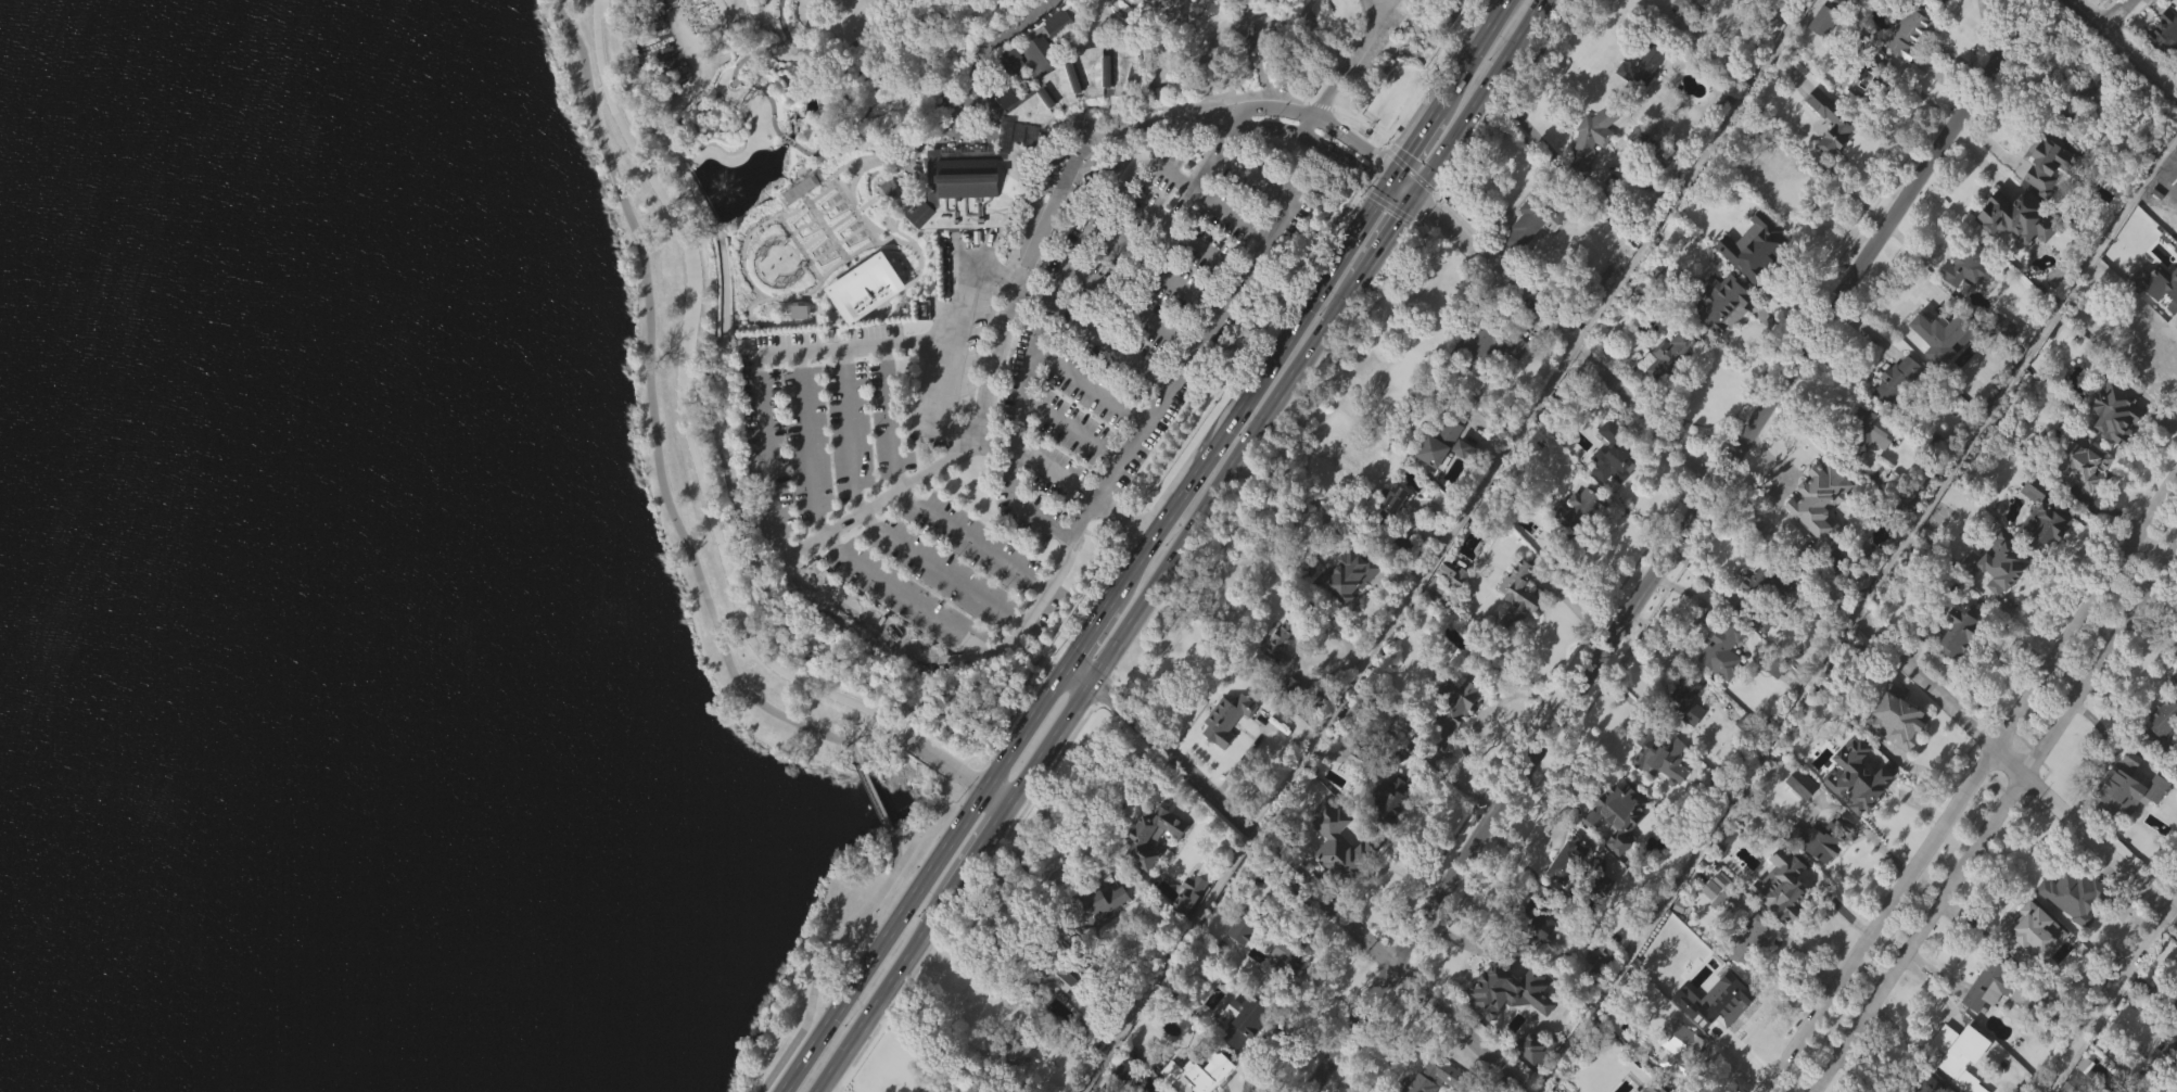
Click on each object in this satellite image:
road: (1378, 4)
building: (1955, 5)
building: (2086, 5)
road: (1658, 7)
building: (1692, 8)
road: (590, 14)
road: (2116, 14)
road: (739, 20)
building: (1913, 30)
building: (2164, 36)
road: (793, 42)
road: (2125, 49)
building: (1057, 54)
building: (1821, 54)
road: (979, 62)
road: (1350, 62)
building: (1643, 64)
road: (897, 65)
building: (1906, 65)
building: (2164, 68)
building: (1872, 80)
building: (2077, 92)
building: (1640, 100)
building: (1118, 103)
road: (1275, 107)
road: (824, 109)
building: (1863, 118)
building: (1846, 120)
road: (1528, 125)
building: (1016, 126)
road: (1309, 127)
road: (769, 129)
building: (1591, 137)
road: (1311, 139)
road: (1351, 140)
road: (629, 141)
road: (1015, 141)
building: (1829, 155)
building: (2044, 161)
road: (1688, 172)
road: (1386, 173)
building: (1589, 173)
building: (1643, 176)
building: (2170, 179)
fountain: (721, 187)
building: (2045, 196)
road: (1047, 213)
building: (1542, 213)
building: (2014, 218)
building: (800, 221)
road: (1168, 226)
road: (1180, 233)
building: (1770, 242)
building: (2012, 252)
building: (1528, 256)
building: (1965, 263)
building: (2155, 265)
road: (1156, 269)
building: (2173, 275)
park: (993, 279)
building: (1750, 280)
building: (2159, 294)
building: (1964, 300)
building: (1720, 303)
road: (1131, 307)
building: (2174, 315)
building: (1933, 318)
building: (864, 322)
parking lot: (1133, 323)
building: (2000, 328)
road: (693, 334)
building: (1719, 338)
road: (853, 342)
building: (797, 345)
building: (1482, 348)
building: (2146, 348)
road: (949, 354)
building: (1676, 354)
building: (1937, 370)
building: (1484, 378)
building: (1901, 385)
road: (1088, 388)
building: (1669, 389)
building: (902, 403)
road: (654, 409)
building: (2110, 409)
building: (1895, 414)
building: (1551, 419)
road: (1070, 430)
road: (722, 431)
building: (1872, 431)
building: (1934, 440)
building: (1438, 444)
building: (2113, 445)
building: (1617, 449)
road: (765, 454)
building: (2075, 460)
building: (1867, 465)
building: (1437, 474)
building: (1886, 479)
building: (1463, 483)
building: (1613, 486)
park: (584, 487)
road: (912, 495)
building: (2080, 495)
building: (1820, 499)
building: (1910, 503)
building: (1389, 506)
road: (1028, 513)
building: (2039, 513)
road: (873, 519)
building: (1579, 522)
building: (1392, 532)
building: (1818, 534)
road: (830, 539)
road: (1675, 545)
road: (1180, 546)
building: (1576, 546)
road: (1784, 546)
road: (1146, 547)
building: (2040, 547)
building: (2003, 571)
building: (1353, 575)
building: (1401, 576)
road: (1413, 588)
building: (1518, 593)
building: (1764, 595)
building: (1450, 607)
building: (1345, 609)
road: (1857, 610)
building: (1516, 626)
road: (751, 627)
building: (1953, 631)
road: (1017, 632)
building: (1286, 642)
building: (1728, 650)
building: (1758, 653)
road: (1036, 656)
building: (1956, 666)
building: (1277, 676)
building: (2174, 677)
building: (1720, 683)
building: (1683, 694)
road: (1021, 704)
building: (1893, 714)
building: (1453, 716)
building: (1228, 718)
building: (2157, 721)
building: (1682, 725)
building: (1452, 742)
building: (2162, 749)
building: (1224, 751)
building: (1658, 751)
building: (1894, 752)
road: (947, 760)
building: (1873, 769)
building: (1415, 779)
road: (1970, 786)
building: (2118, 786)
building: (1658, 790)
road: (992, 795)
road: (874, 796)
building: (1389, 797)
building: (1856, 809)
building: (1617, 814)
building: (1799, 816)
road: (1995, 820)
building: (2129, 820)
building: (1390, 828)
building: (1148, 831)
building: (1821, 838)
building: (1615, 847)
building: (1577, 865)
building: (1150, 868)
building: (1818, 871)
road: (1298, 873)
building: (1333, 876)
building: (1729, 892)
building: (1195, 893)
building: (2075, 893)
building: (1564, 894)
building: (1792, 894)
building: (1599, 917)
building: (1532, 918)
building: (1708, 922)
building: (1244, 926)
building: (1187, 927)
building: (1722, 927)
building: (2067, 928)
building: (2023, 930)
building: (1094, 939)
building: (1756, 941)
road: (822, 957)
road: (1164, 960)
building: (1286, 960)
building: (1240, 961)
building: (1606, 966)
building: (2028, 966)
building: (1049, 973)
building: (1748, 973)
building: (1500, 985)
building: (1985, 985)
road: (2108, 990)
building: (1286, 991)
building: (1713, 992)
building: (1601, 994)
building: (2164, 1002)
building: (1057, 1011)
building: (1987, 1018)
building: (1506, 1024)
building: (1710, 1028)
building: (1091, 1034)
road: (921, 1042)
building: (1014, 1047)
building: (1955, 1047)
building: (1677, 1049)
building: (1244, 1053)
building: (2159, 1063)
building: (1201, 1069)
building: (1132, 1071)
building: (1677, 1072)
building: (1958, 1076)
building: (1441, 1078)
building: (1017, 1079)
building: (1535, 1079)
building: (2167, 1081)
building: (1923, 1083)
building: (1123, 1090)
building: (2126, 1090)

